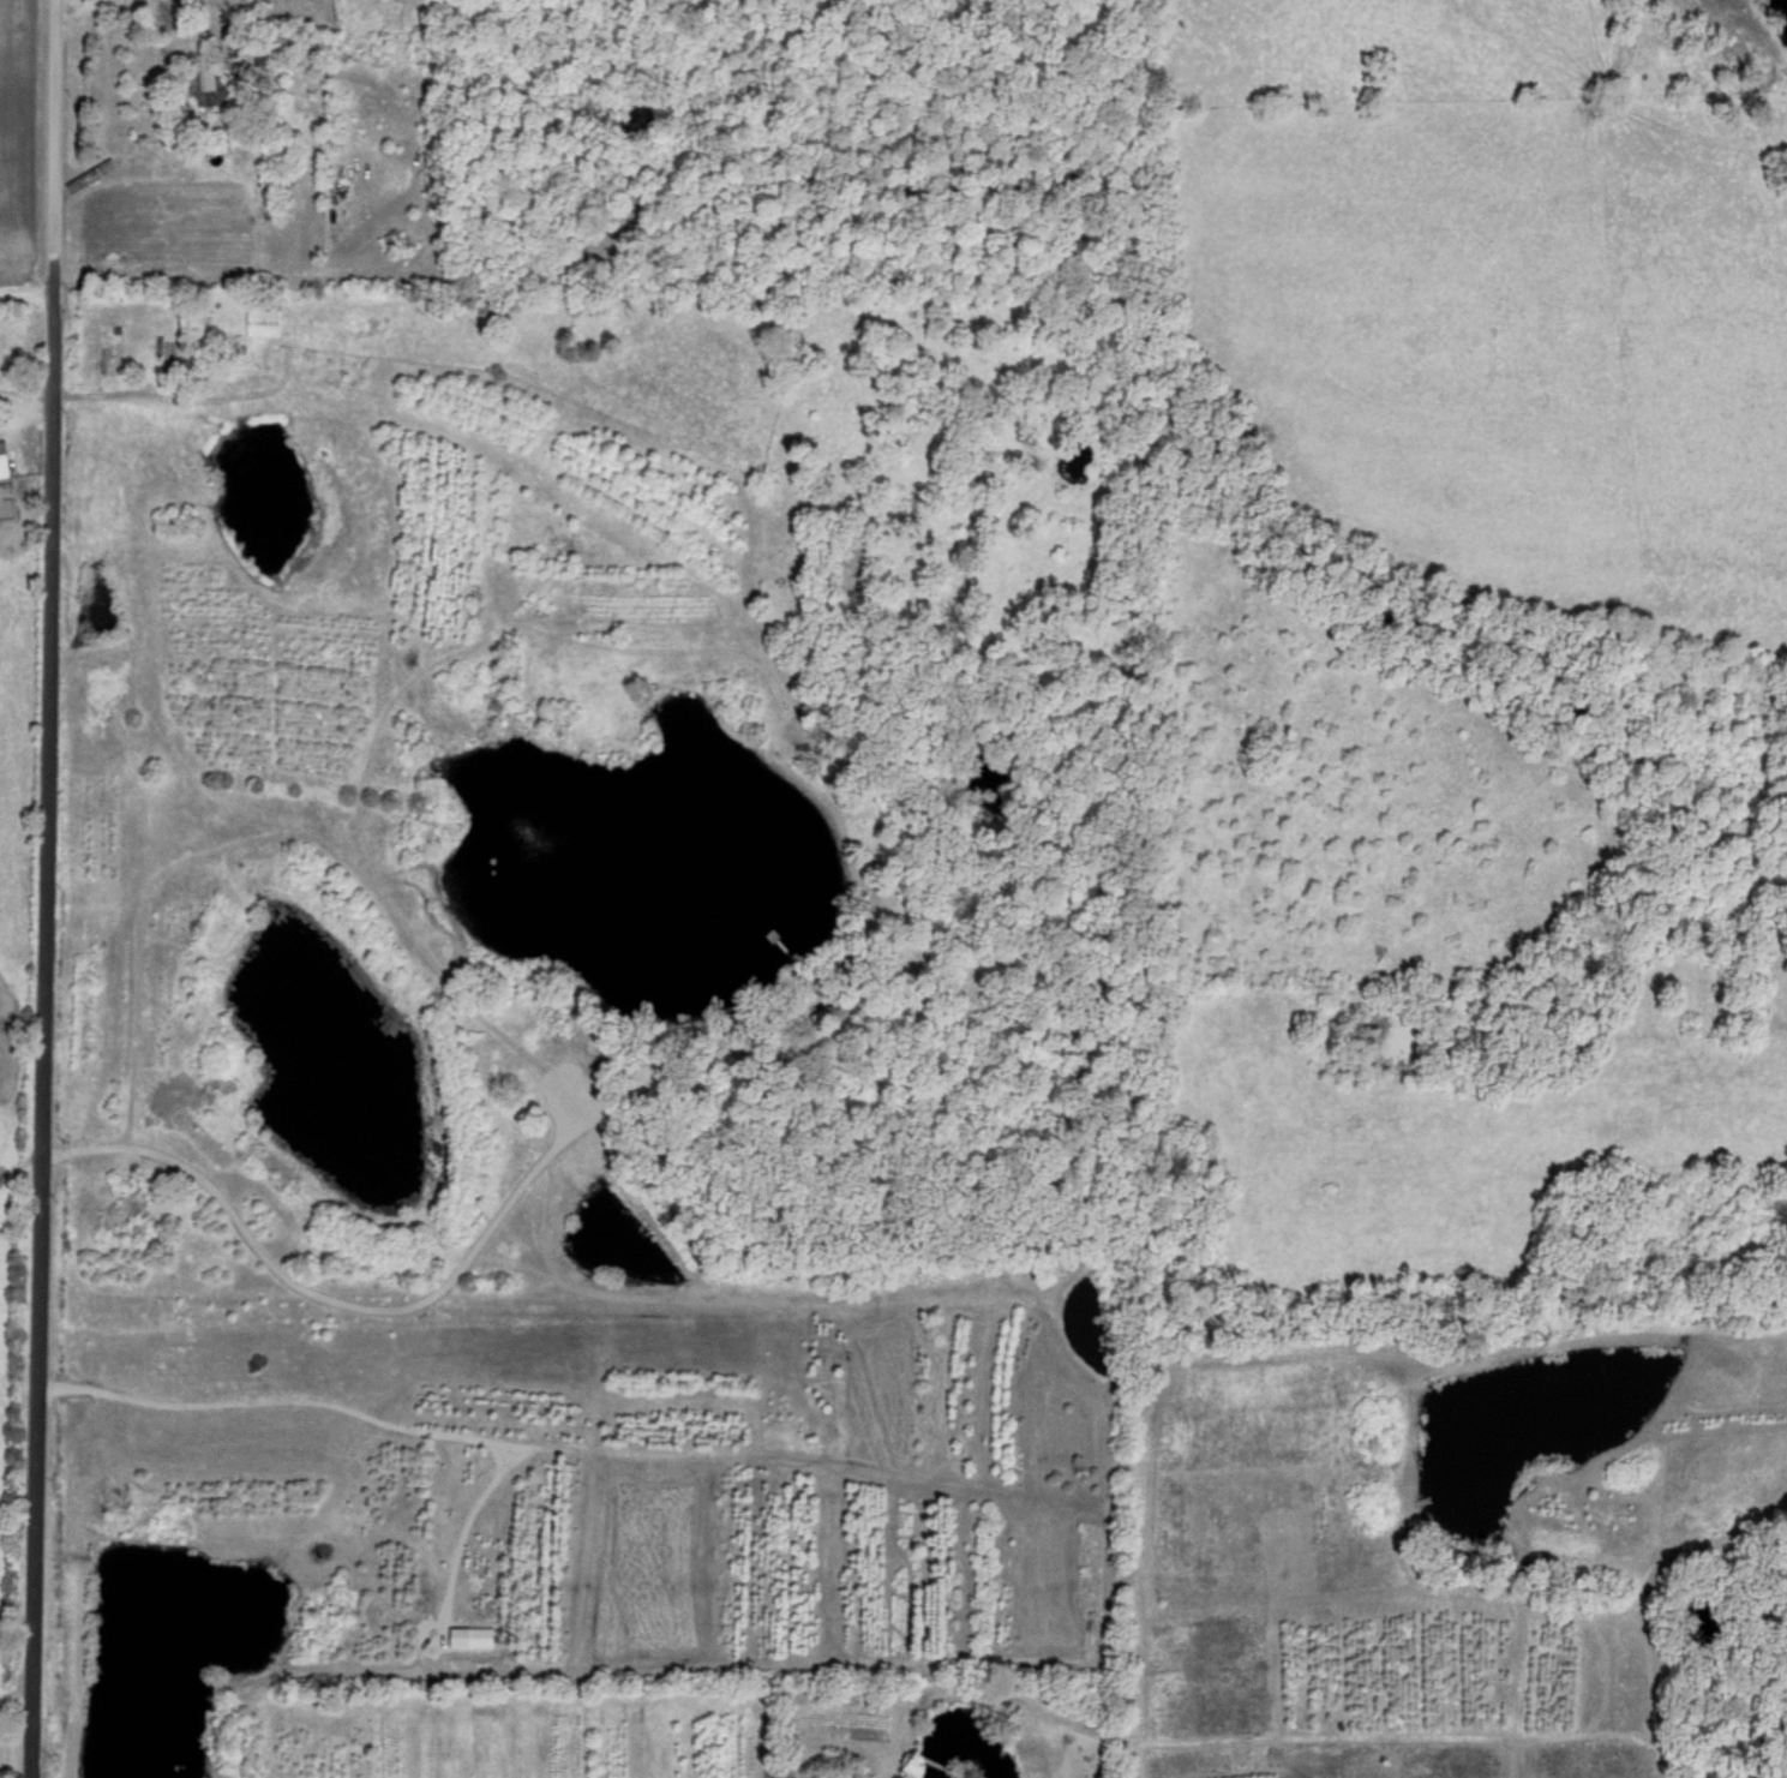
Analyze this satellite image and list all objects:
road: (126, 7)
building: (274, 38)
building: (209, 83)
road: (26, 295)
building: (264, 313)
building: (6, 348)
building: (106, 349)
building: (353, 448)
building: (4, 456)
road: (43, 888)
road: (14, 1693)
road: (1257, 1736)

